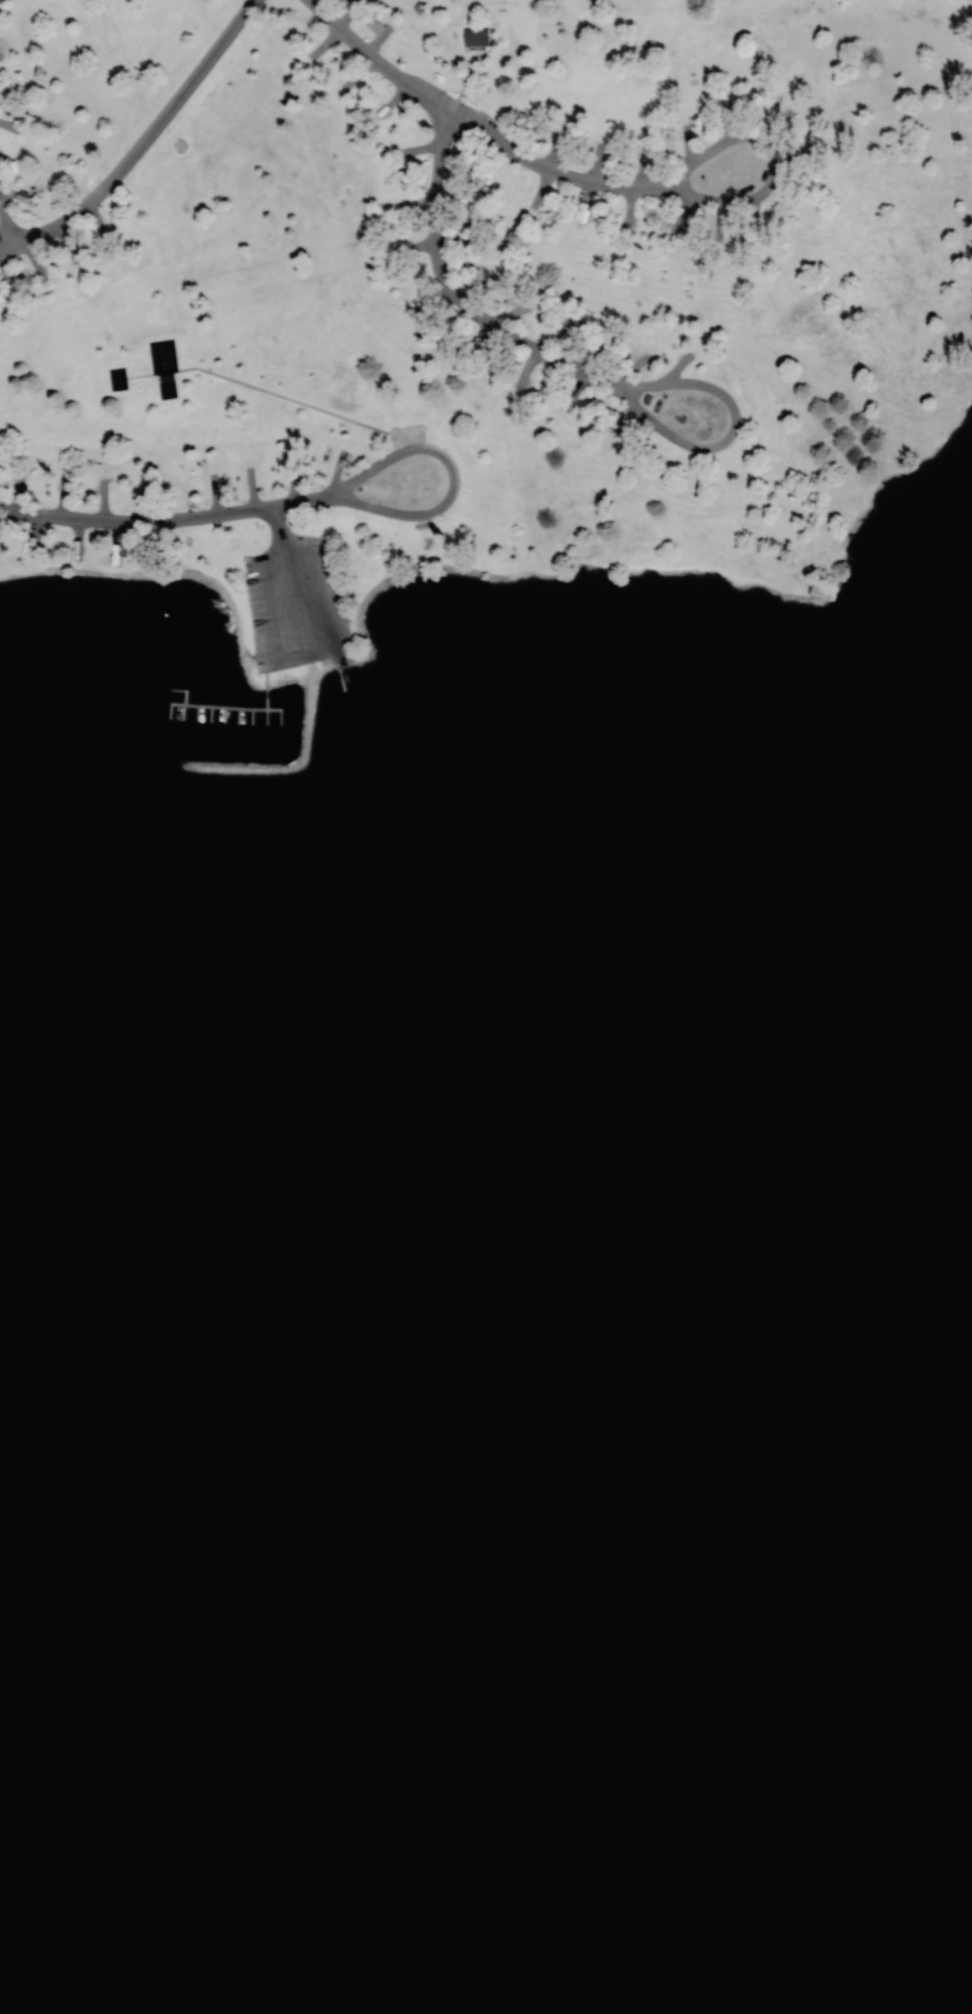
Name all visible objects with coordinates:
building: (475, 37)
road: (473, 132)
road: (142, 140)
road: (774, 156)
building: (469, 198)
road: (6, 219)
road: (581, 369)
road: (453, 475)
road: (170, 519)
road: (275, 519)
road: (693, 543)
parking lot: (296, 604)
park: (486, 1007)
river: (486, 1412)

